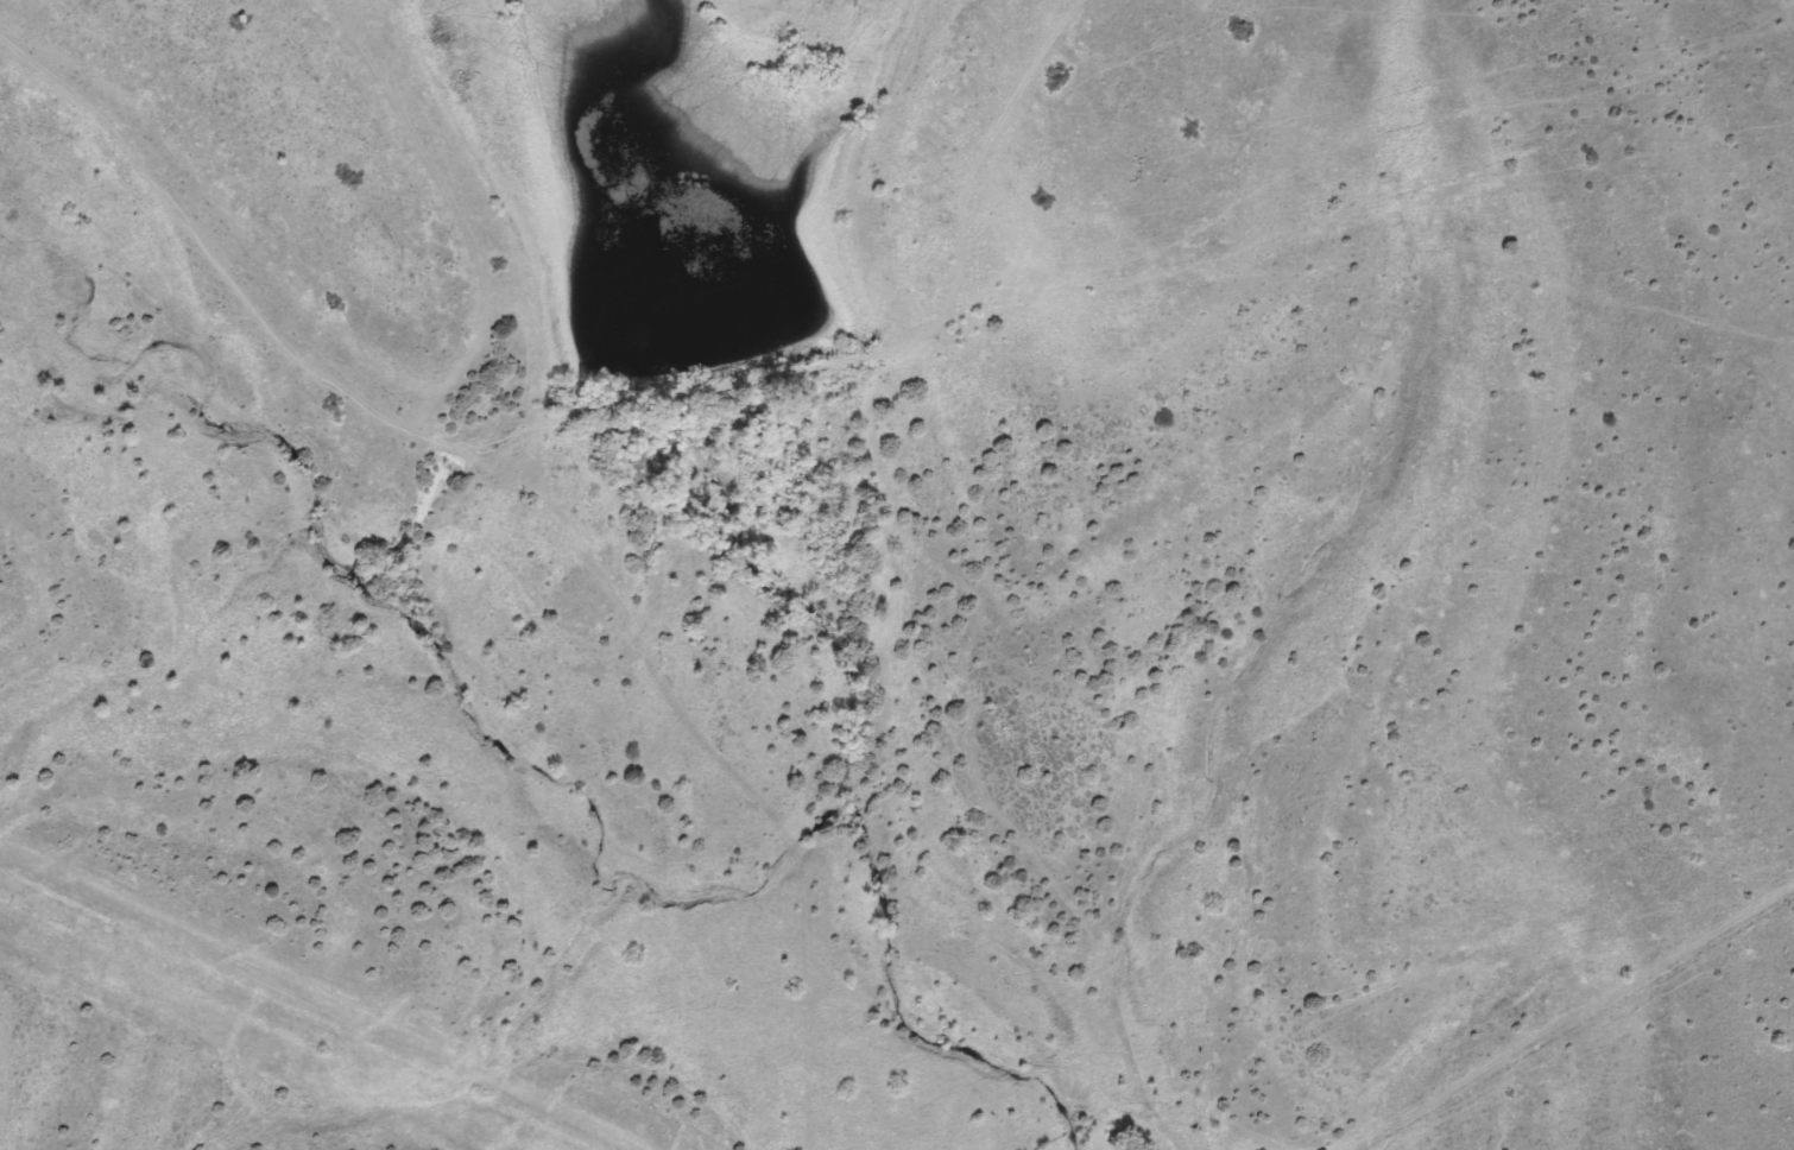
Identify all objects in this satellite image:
road: (979, 147)

